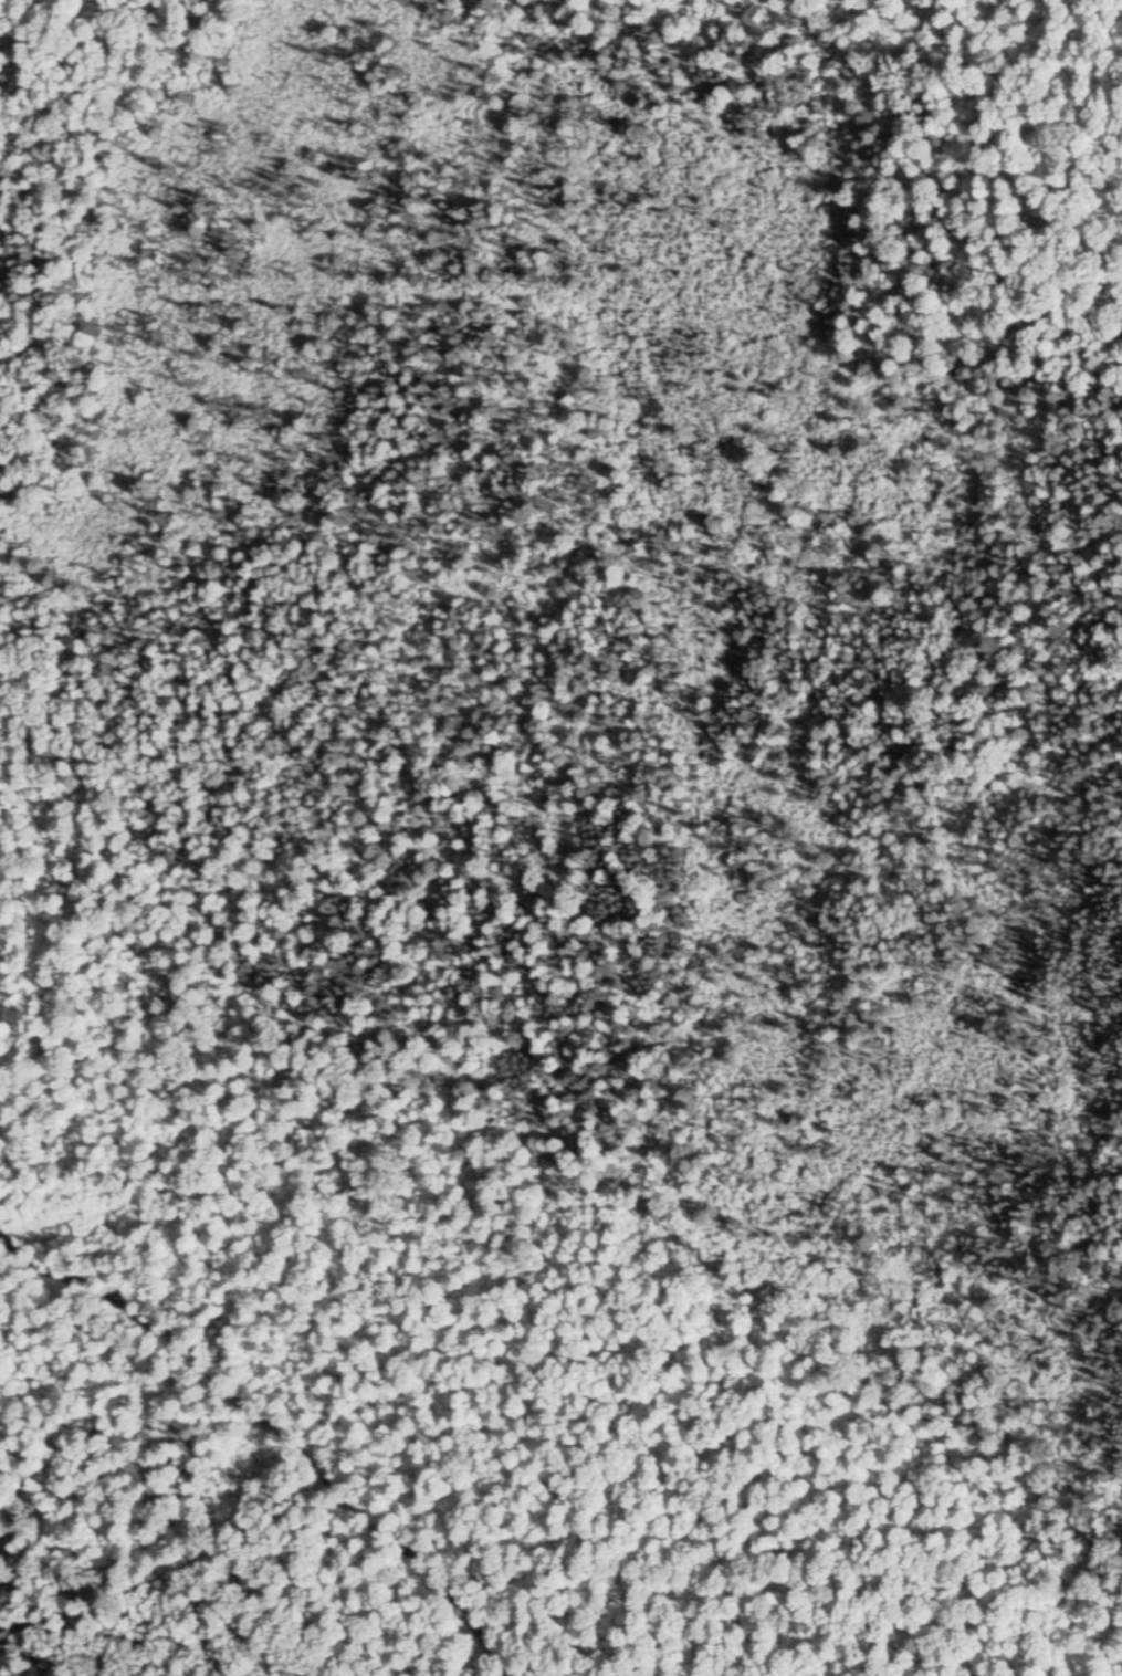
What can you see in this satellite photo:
road: (260, 1436)

